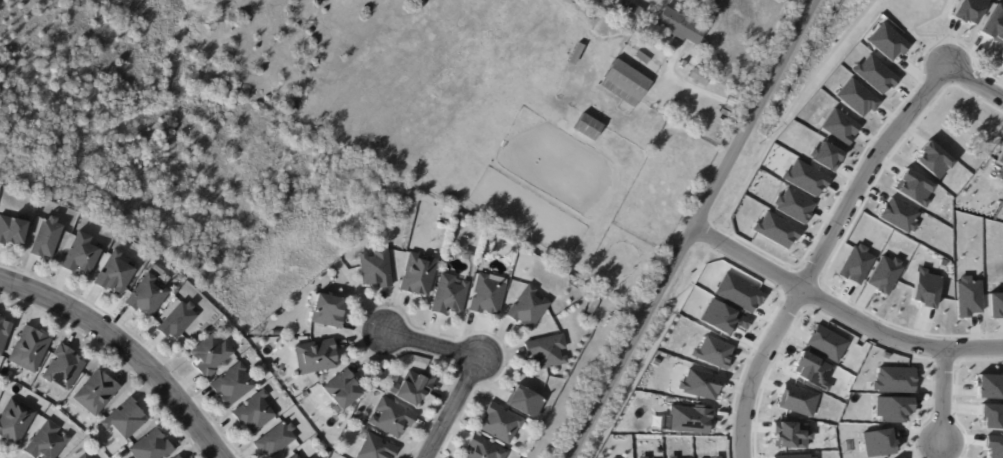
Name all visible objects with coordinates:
building: (966, 10)
building: (633, 12)
road: (918, 23)
building: (992, 23)
building: (681, 29)
building: (886, 42)
building: (705, 46)
building: (577, 54)
building: (1000, 55)
building: (644, 58)
building: (874, 74)
building: (700, 78)
road: (974, 81)
building: (625, 84)
road: (711, 95)
building: (855, 97)
road: (787, 112)
building: (838, 126)
building: (589, 127)
building: (824, 155)
building: (931, 160)
building: (1000, 162)
building: (804, 177)
building: (911, 187)
building: (792, 205)
building: (897, 215)
building: (462, 219)
road: (691, 229)
building: (774, 229)
building: (14, 230)
building: (48, 238)
building: (491, 239)
road: (821, 252)
building: (84, 255)
building: (854, 264)
building: (378, 269)
building: (421, 274)
building: (882, 274)
building: (117, 275)
building: (925, 288)
building: (738, 293)
building: (150, 296)
building: (451, 296)
building: (490, 296)
building: (968, 296)
building: (995, 305)
building: (593, 306)
building: (530, 309)
road: (840, 312)
building: (328, 313)
building: (0, 316)
building: (722, 318)
building: (179, 322)
building: (4, 334)
building: (825, 343)
road: (434, 348)
road: (125, 349)
road: (651, 349)
building: (31, 350)
building: (711, 352)
building: (547, 353)
building: (211, 356)
building: (318, 357)
building: (427, 364)
building: (65, 369)
building: (810, 370)
building: (892, 379)
building: (699, 383)
building: (235, 385)
building: (987, 386)
building: (415, 387)
building: (344, 392)
building: (98, 393)
road: (942, 396)
building: (796, 399)
building: (524, 403)
building: (890, 408)
road: (454, 409)
building: (256, 414)
building: (357, 415)
building: (991, 415)
building: (393, 418)
building: (687, 418)
building: (126, 420)
building: (16, 422)
building: (503, 424)
building: (788, 434)
building: (278, 441)
building: (48, 442)
building: (877, 442)
building: (994, 446)
building: (154, 447)
building: (377, 448)
building: (485, 449)
building: (294, 456)
building: (670, 456)
building: (791, 456)
building: (84, 457)
building: (175, 457)
building: (179, 457)
building: (641, 457)
building: (714, 457)
road: (967, 457)

